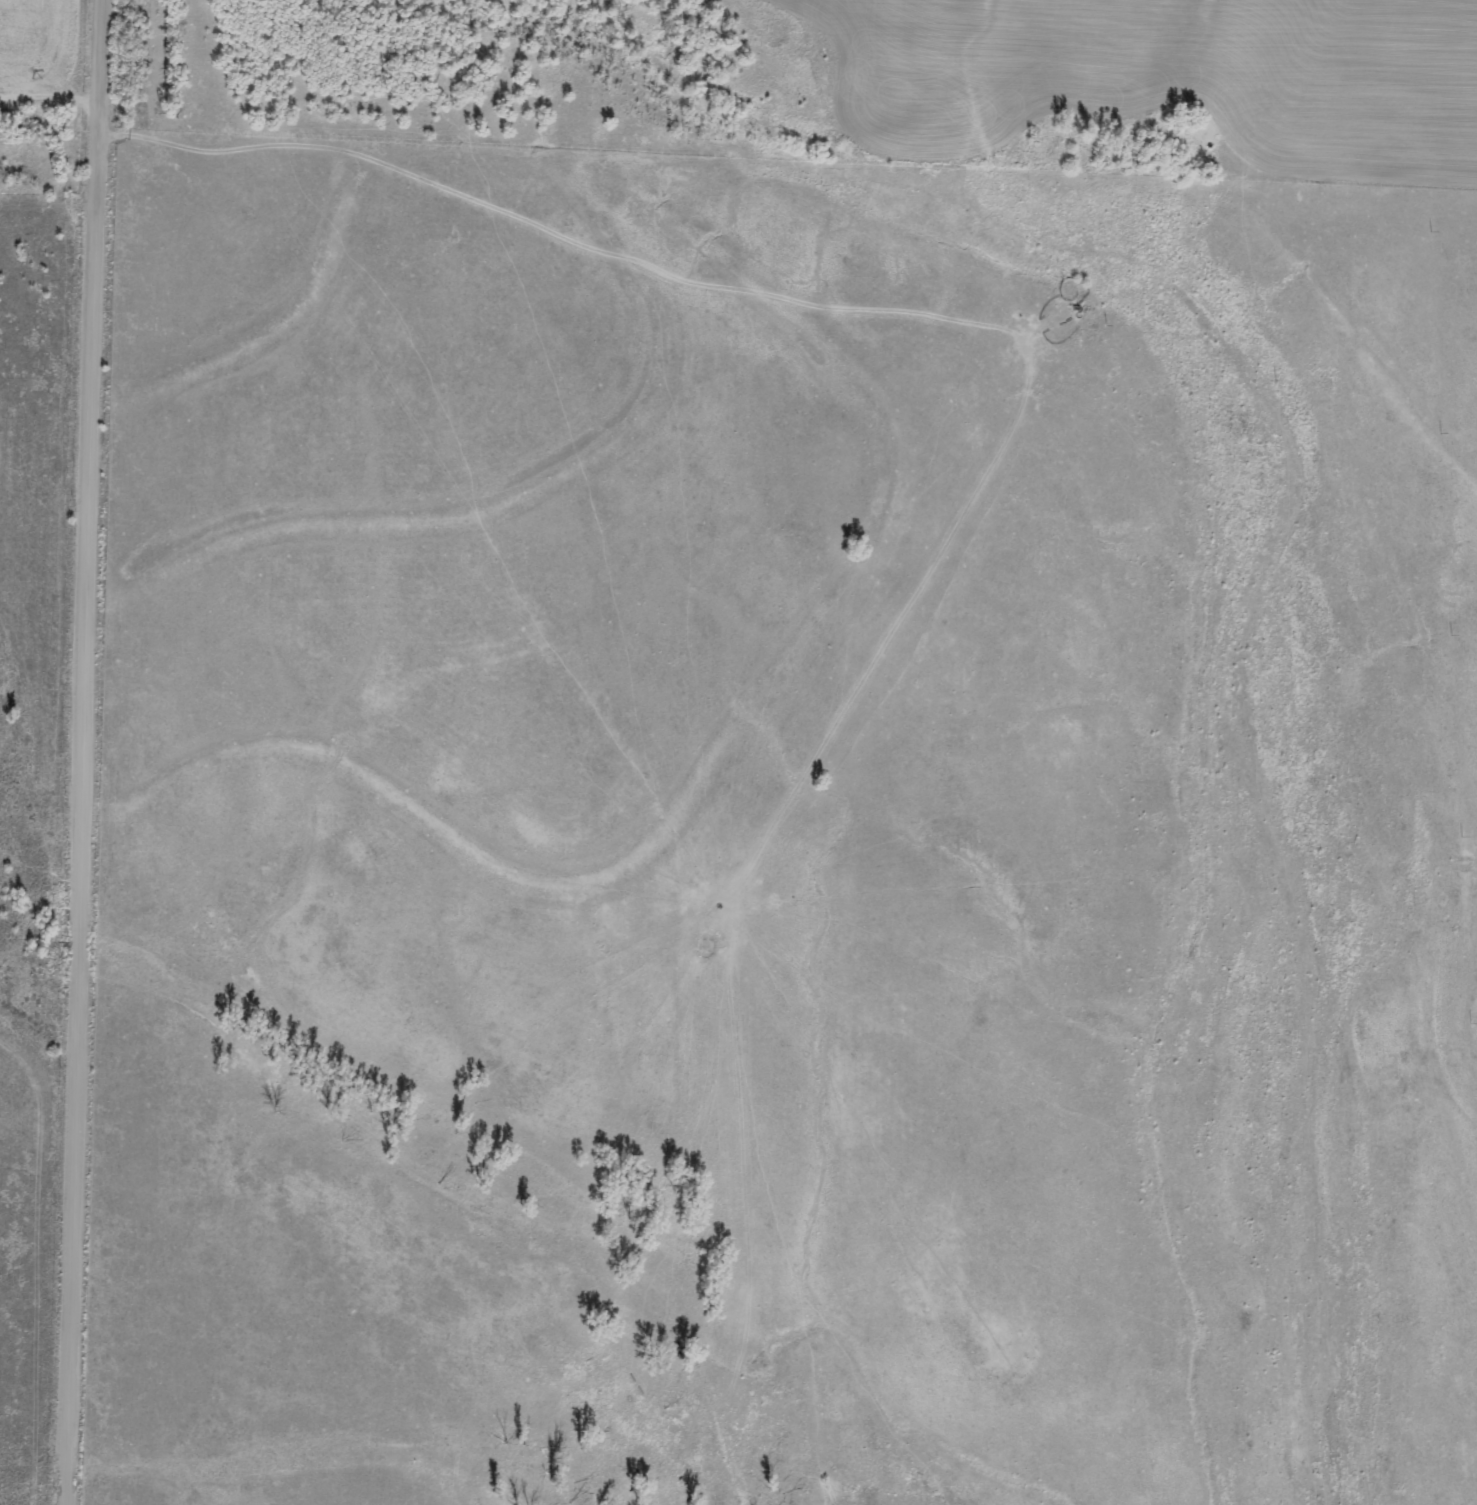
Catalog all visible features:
road: (51, 77)
road: (50, 112)
road: (83, 752)

